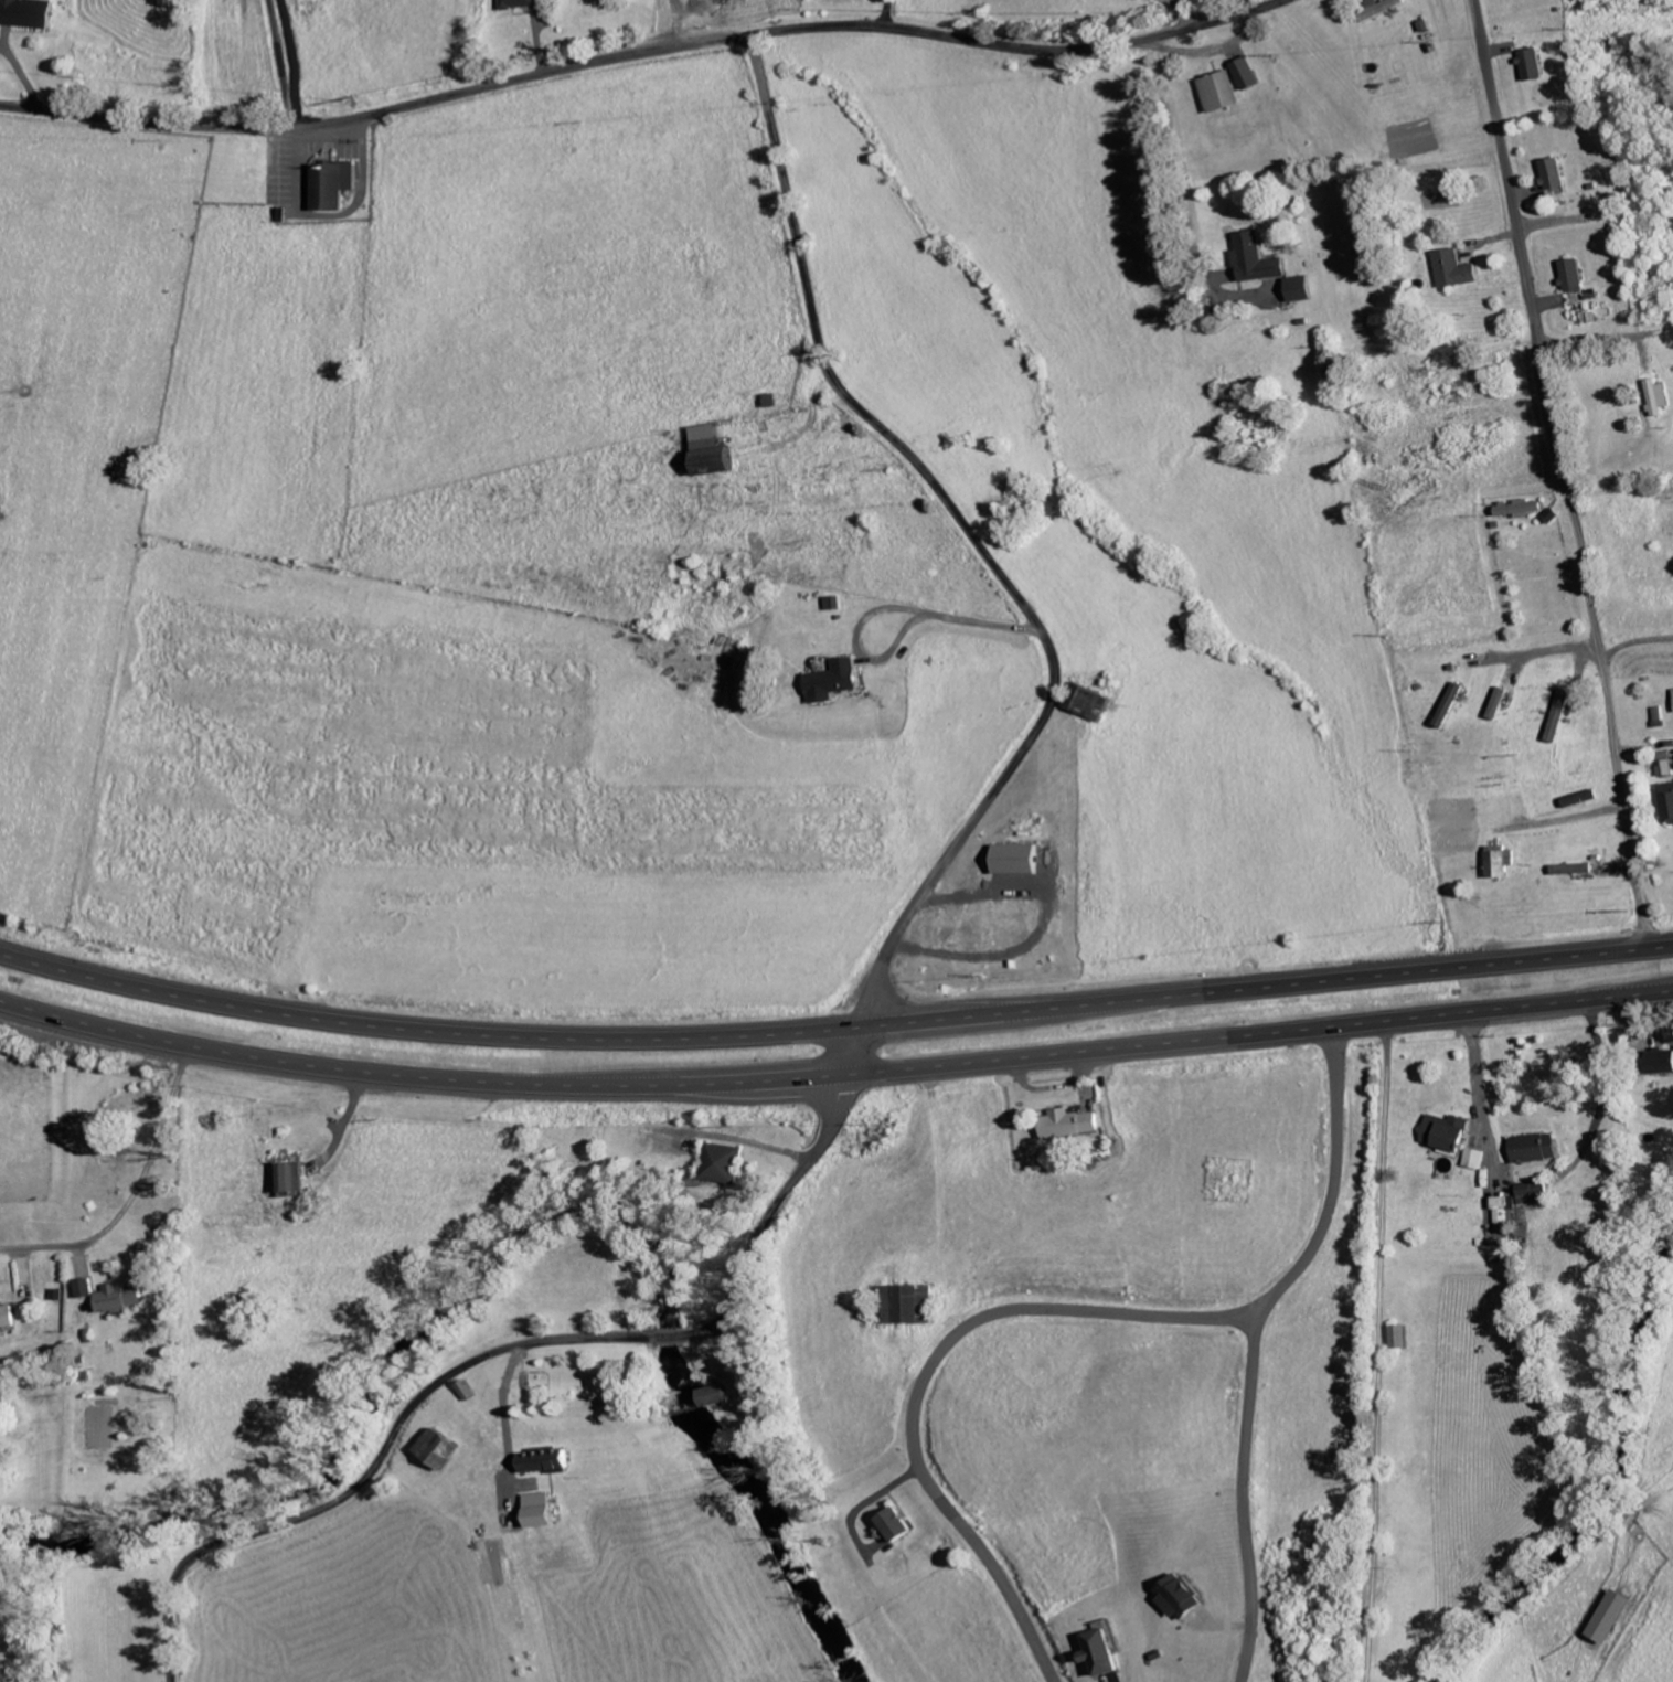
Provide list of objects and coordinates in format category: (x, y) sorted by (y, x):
road: (1178, 10)
road: (664, 25)
road: (644, 55)
road: (279, 65)
road: (1181, 160)
road: (1562, 475)
road: (927, 613)
road: (1631, 642)
road: (1528, 656)
road: (870, 994)
road: (834, 1031)
road: (834, 1076)
road: (45, 1248)
road: (1255, 1343)
road: (1377, 1351)
road: (929, 1369)
building: (708, 1395)
dam: (683, 1413)

